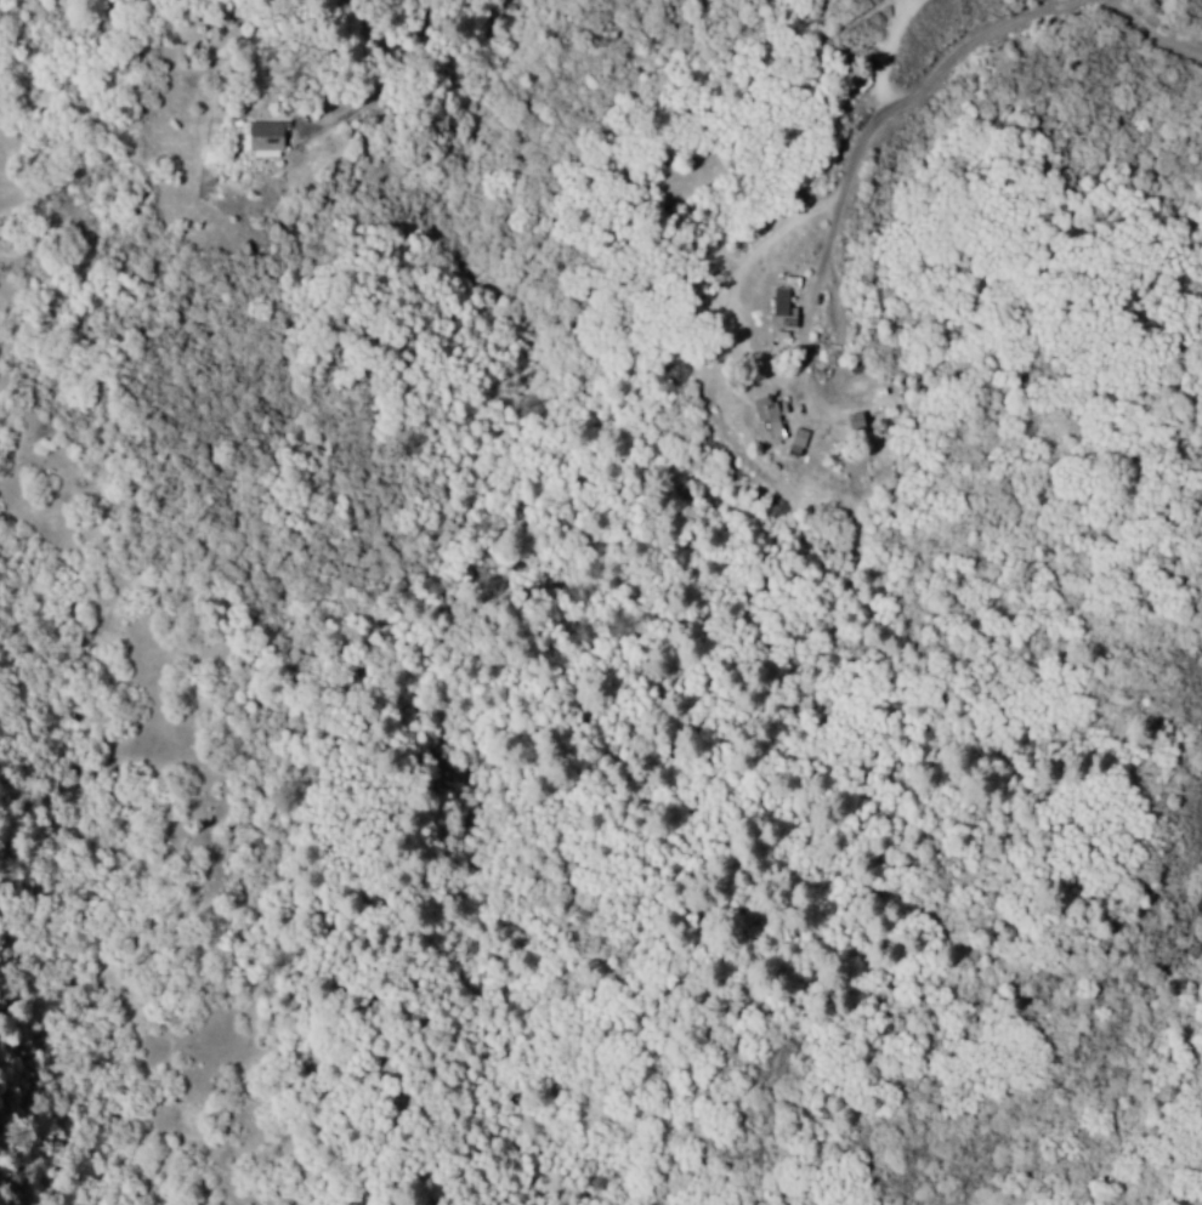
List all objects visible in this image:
road: (1155, 32)
building: (263, 138)
building: (779, 311)
building: (766, 417)

